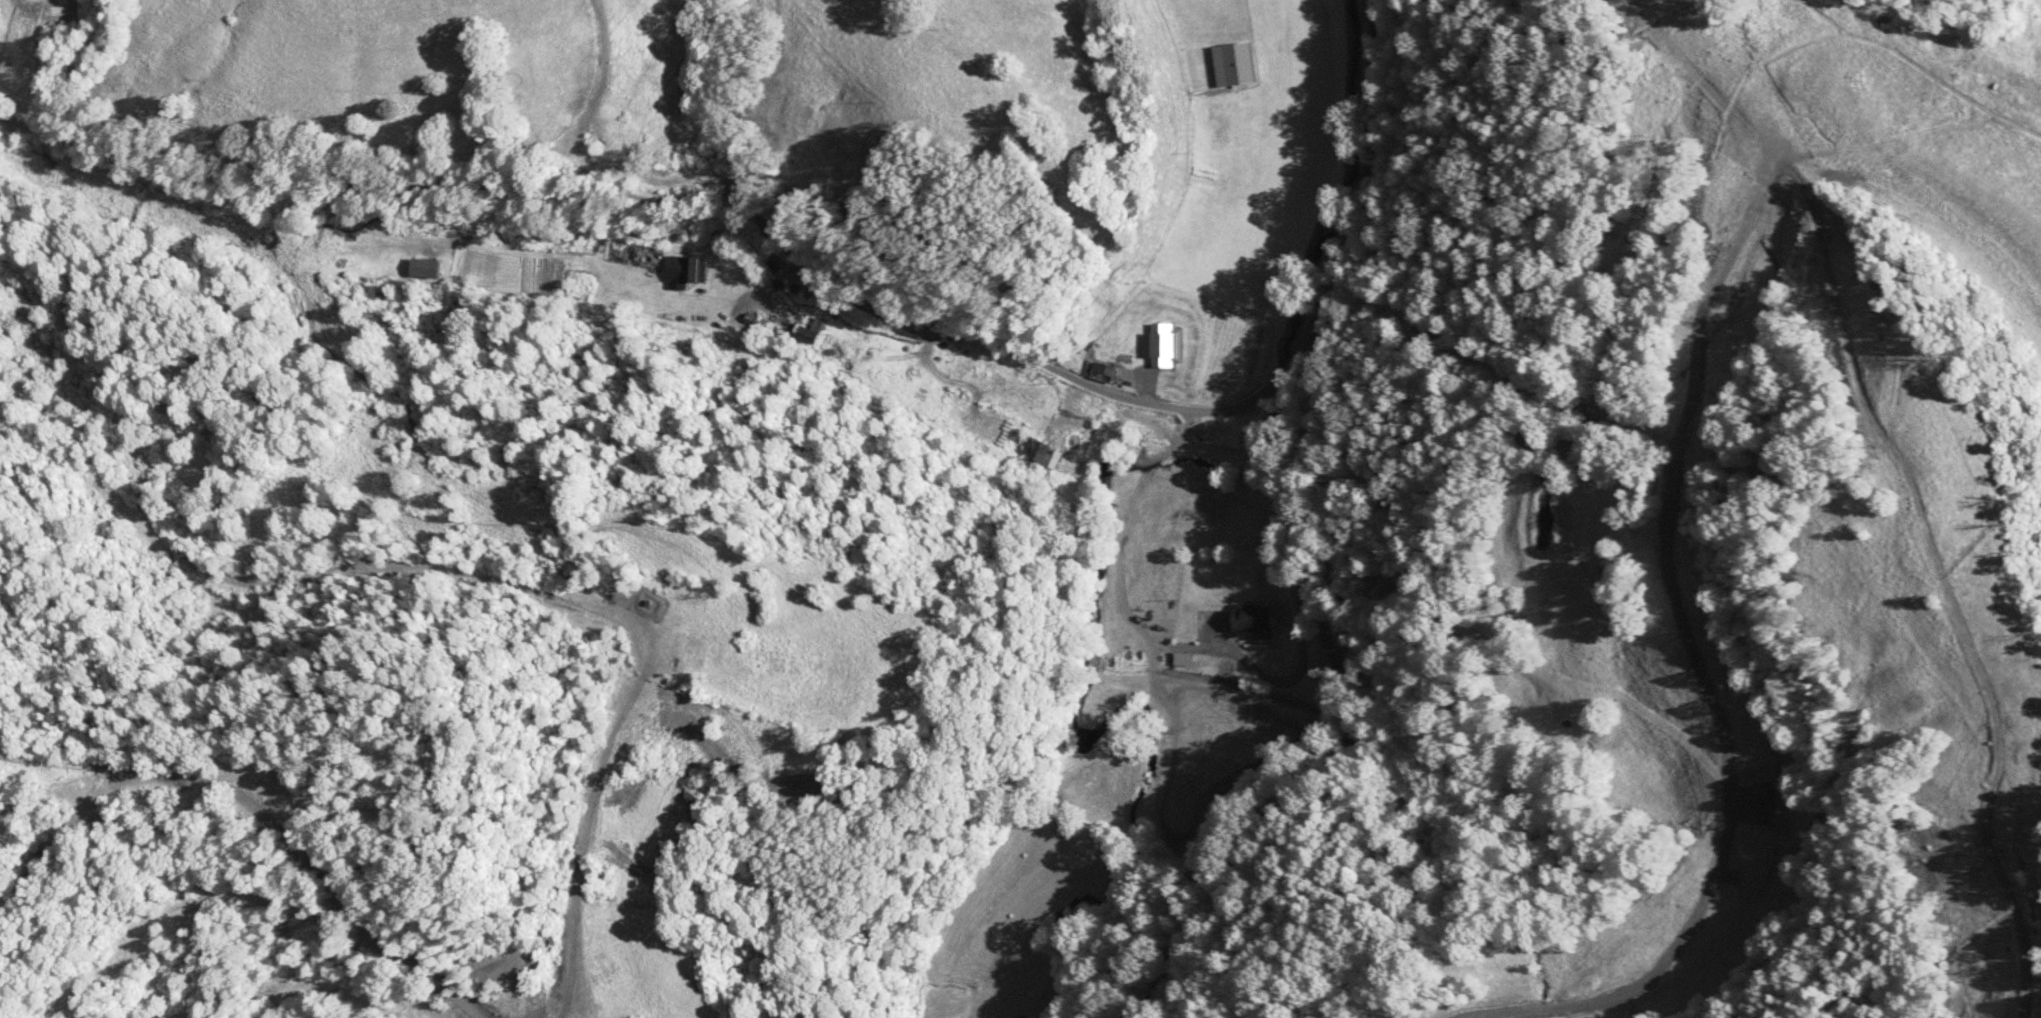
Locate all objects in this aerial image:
building: (1236, 66)
building: (428, 270)
building: (689, 270)
road: (916, 322)
building: (1168, 347)
building: (1104, 373)
road: (1299, 521)
building: (1255, 618)

